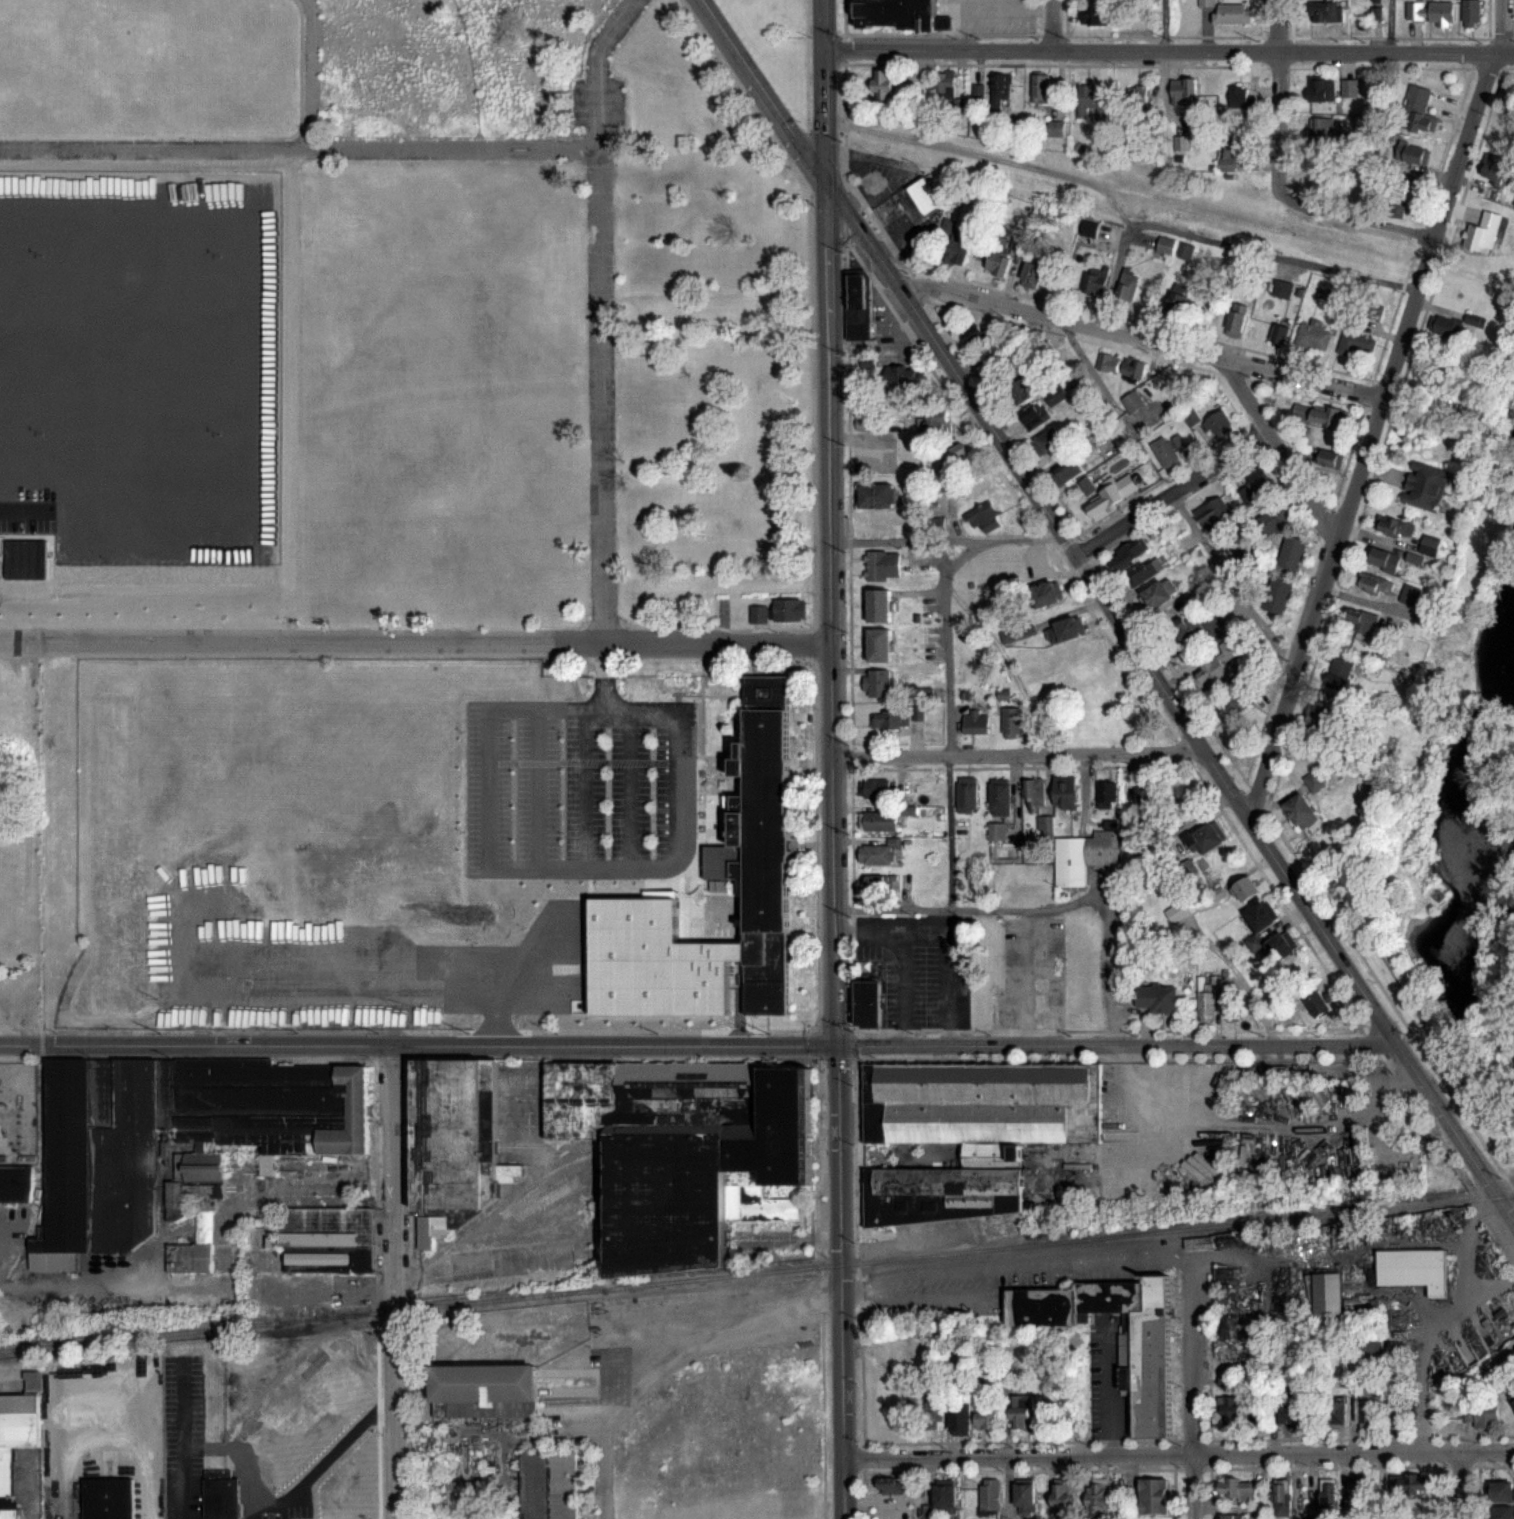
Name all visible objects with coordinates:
road: (1006, 7)
building: (1431, 11)
building: (1327, 12)
building: (894, 13)
building: (1471, 13)
building: (1231, 14)
building: (1092, 15)
road: (962, 24)
road: (1050, 24)
road: (1162, 25)
road: (1276, 25)
road: (1387, 26)
road: (1167, 50)
road: (309, 74)
building: (882, 83)
building: (946, 85)
building: (1001, 86)
building: (1040, 88)
building: (1349, 88)
building: (1322, 89)
building: (1184, 92)
building: (1086, 97)
building: (1137, 97)
building: (1241, 98)
building: (1419, 110)
building: (1318, 131)
road: (298, 148)
building: (1412, 153)
building: (1227, 163)
building: (1494, 167)
traffic signals: (822, 180)
building: (921, 194)
building: (1401, 195)
road: (1286, 197)
power substation: (96, 204)
building: (1484, 232)
road: (1219, 239)
building: (1166, 245)
building: (956, 250)
building: (1185, 250)
building: (998, 264)
building: (1034, 271)
building: (1094, 282)
building: (1128, 286)
building: (1282, 289)
building: (1174, 300)
building: (855, 304)
road: (598, 316)
building: (1237, 320)
building: (1452, 326)
building: (1280, 334)
building: (976, 336)
building: (1313, 337)
road: (1137, 339)
building: (1354, 344)
building: (998, 362)
building: (1108, 362)
building: (1133, 368)
building: (902, 378)
road: (942, 390)
building: (1133, 402)
road: (1376, 408)
building: (1320, 415)
building: (1036, 416)
building: (1192, 418)
building: (934, 422)
road: (1357, 422)
building: (1219, 423)
road: (1382, 437)
building: (1048, 443)
road: (1275, 449)
building: (1168, 451)
building: (957, 458)
building: (1328, 460)
building: (1068, 471)
building: (1425, 485)
building: (1254, 487)
road: (1168, 492)
building: (878, 494)
building: (1107, 495)
building: (1214, 513)
building: (984, 517)
building: (1395, 525)
building: (881, 527)
road: (946, 538)
building: (1429, 545)
road: (963, 553)
building: (1291, 554)
building: (1128, 555)
building: (1384, 559)
building: (883, 564)
building: (1144, 572)
road: (1229, 580)
building: (1374, 583)
building: (1048, 593)
building: (1410, 594)
building: (1158, 595)
building: (1278, 595)
building: (880, 604)
road: (1108, 608)
building: (790, 610)
building: (760, 614)
building: (1360, 622)
building: (1065, 629)
road: (415, 641)
building: (881, 643)
building: (1340, 673)
road: (603, 674)
building: (1211, 676)
building: (877, 681)
road: (1179, 682)
building: (1236, 704)
building: (916, 714)
building: (1318, 717)
building: (890, 718)
road: (946, 719)
building: (976, 721)
building: (1012, 722)
road: (1016, 753)
road: (831, 759)
building: (1315, 781)
building: (875, 788)
building: (1035, 790)
building: (1065, 791)
building: (1108, 792)
building: (1144, 792)
building: (967, 794)
building: (1000, 796)
building: (1301, 810)
building: (879, 821)
building: (1046, 826)
building: (1208, 837)
building: (755, 842)
parking lot: (627, 843)
road: (626, 852)
building: (879, 853)
building: (1085, 856)
building: (878, 886)
building: (1246, 890)
road: (1277, 898)
road: (1047, 908)
building: (1178, 912)
road: (947, 917)
building: (1262, 917)
building: (1009, 923)
road: (946, 929)
building: (1282, 945)
road: (1100, 967)
road: (902, 986)
road: (651, 997)
building: (1158, 998)
road: (522, 1000)
building: (1207, 1000)
building: (865, 1002)
building: (1317, 1004)
building: (1232, 1005)
road: (699, 1045)
traffic signals: (838, 1045)
building: (979, 1101)
power substation: (17, 1111)
building: (453, 1132)
building: (682, 1149)
building: (99, 1163)
building: (15, 1182)
building: (945, 1186)
building: (193, 1206)
building: (327, 1239)
road: (925, 1240)
road: (1094, 1254)
building: (1411, 1267)
road: (930, 1270)
railway: (757, 1271)
road: (985, 1281)
road: (394, 1282)
road: (857, 1291)
building: (1325, 1292)
road: (924, 1296)
building: (1148, 1345)
road: (662, 1354)
building: (482, 1389)
road: (1191, 1392)
building: (1512, 1395)
building: (1374, 1406)
building: (1230, 1410)
building: (1337, 1411)
building: (1022, 1412)
building: (1286, 1412)
building: (1487, 1414)
building: (933, 1418)
building: (986, 1419)
building: (961, 1420)
building: (14, 1438)
road: (108, 1444)
road: (333, 1450)
road: (1178, 1456)
road: (1476, 1463)
road: (1172, 1478)
road: (1208, 1478)
building: (546, 1484)
road: (1462, 1485)
building: (1410, 1486)
road: (1005, 1488)
building: (1236, 1488)
building: (1501, 1490)
building: (464, 1491)
building: (1357, 1492)
road: (1440, 1492)
building: (218, 1493)
building: (990, 1493)
building: (1328, 1494)
building: (1025, 1495)
building: (946, 1496)
building: (1154, 1496)
building: (1061, 1497)
building: (1281, 1497)
building: (106, 1498)
building: (1097, 1499)
building: (1503, 1512)
building: (1233, 1516)

